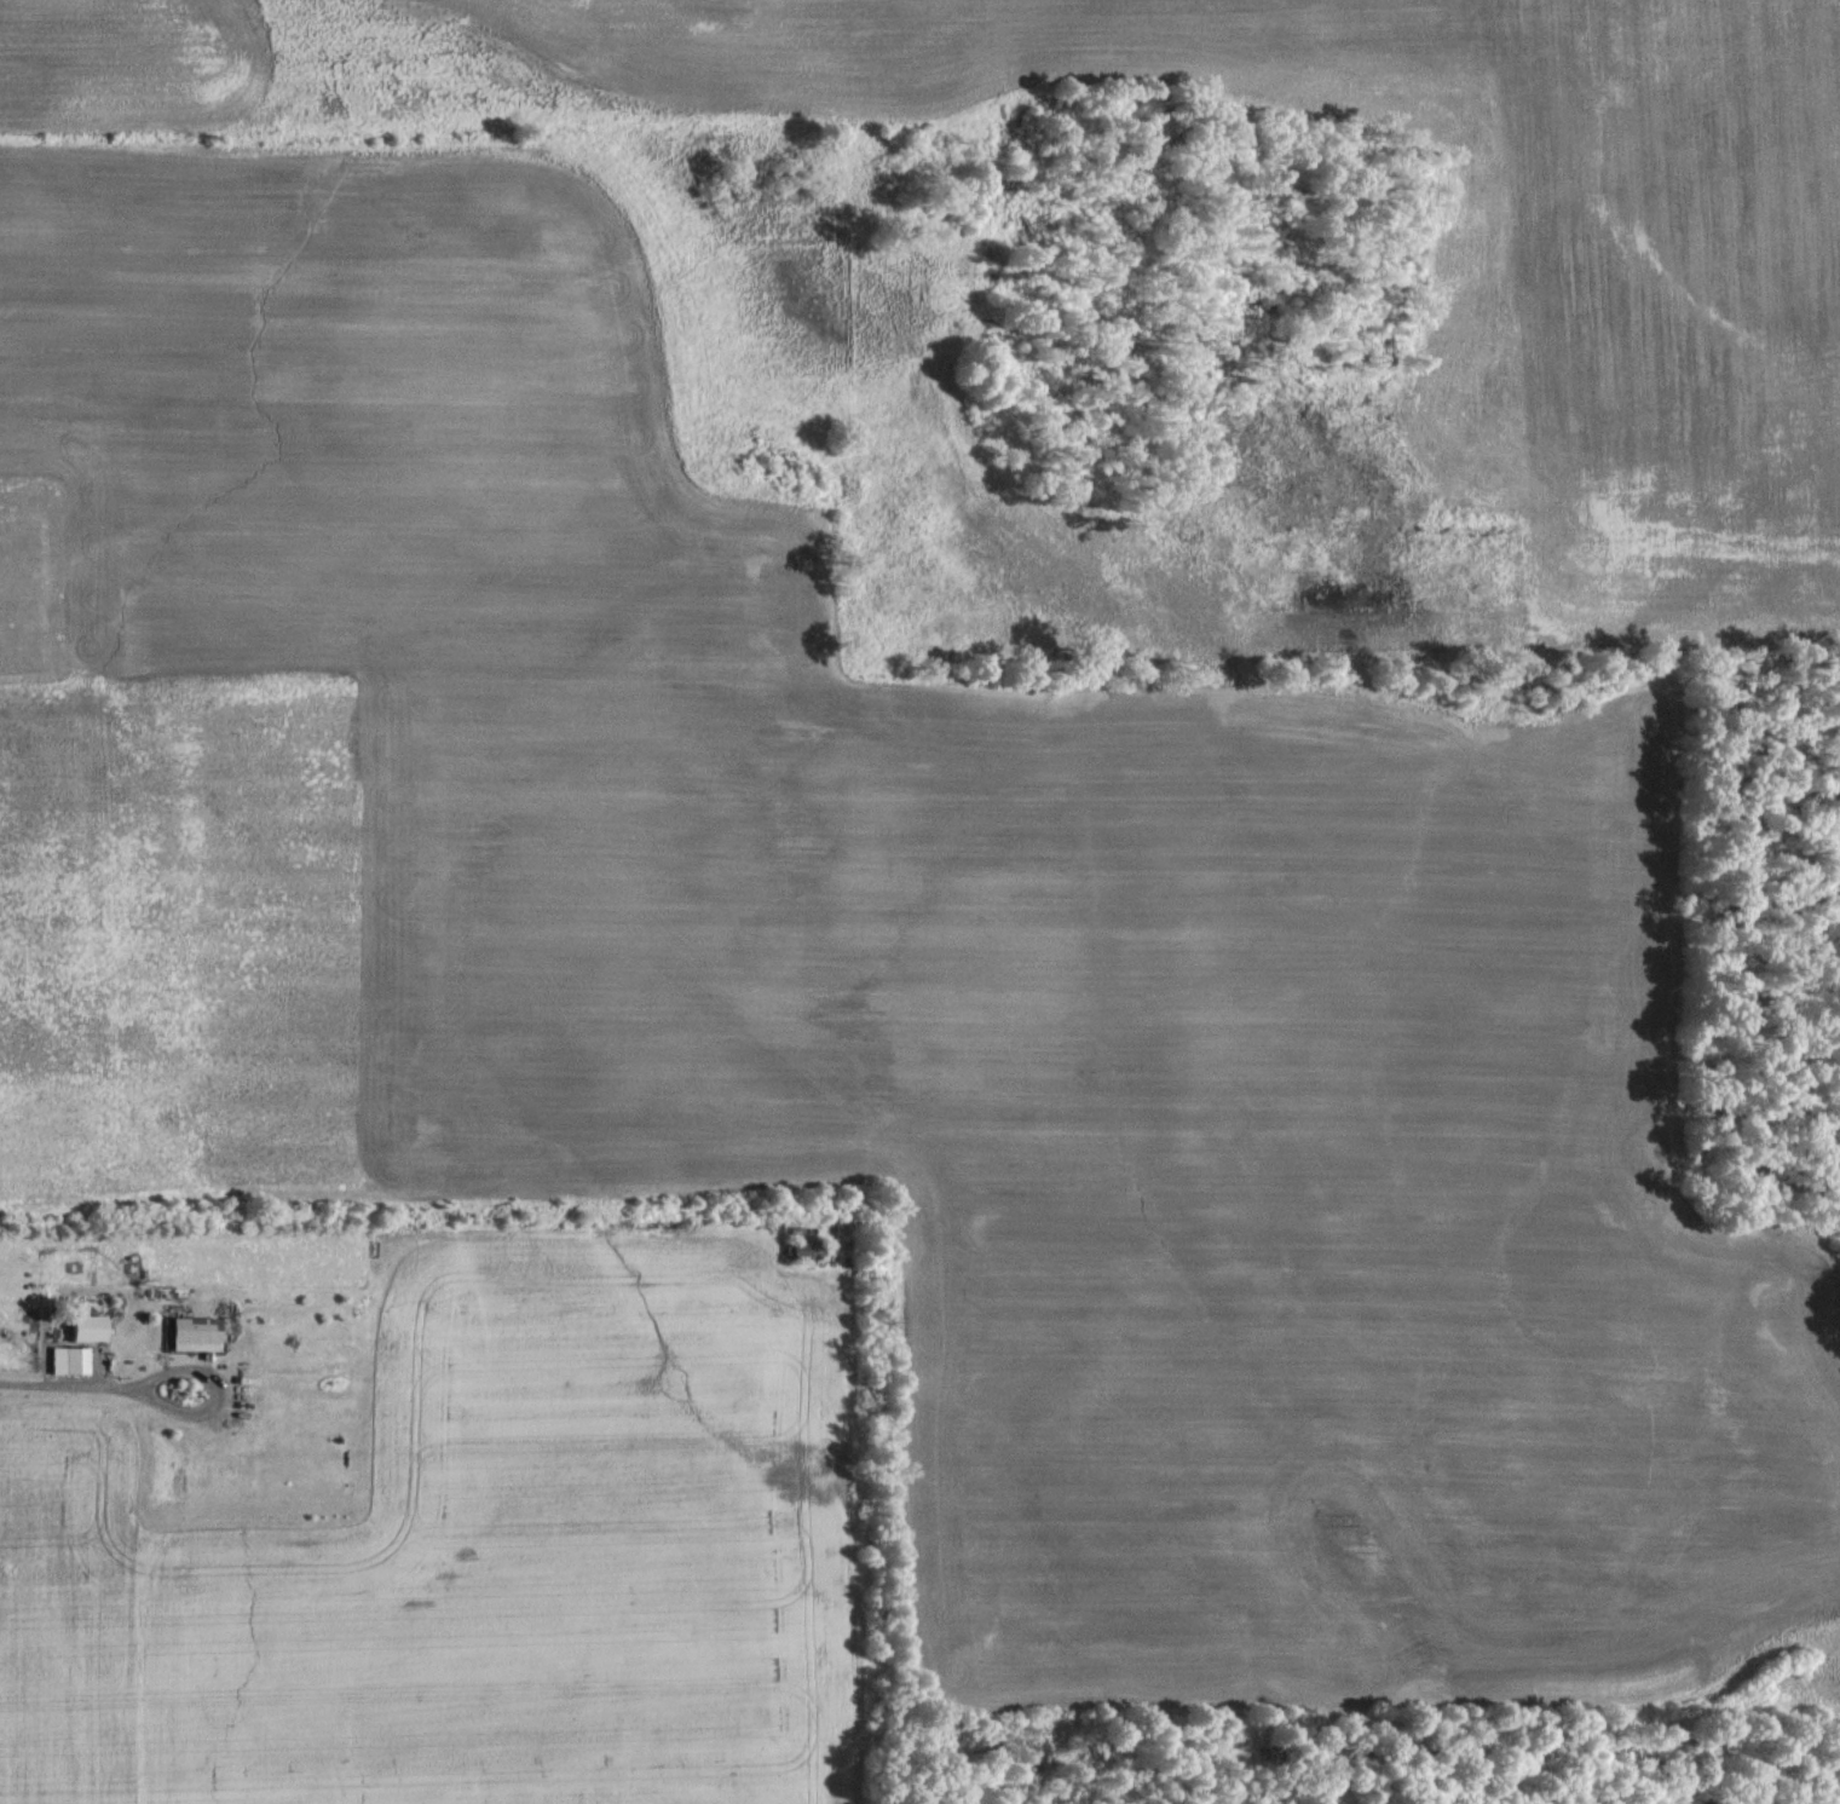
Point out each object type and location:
building: (90, 1326)
building: (197, 1332)
building: (70, 1358)
road: (100, 1383)

